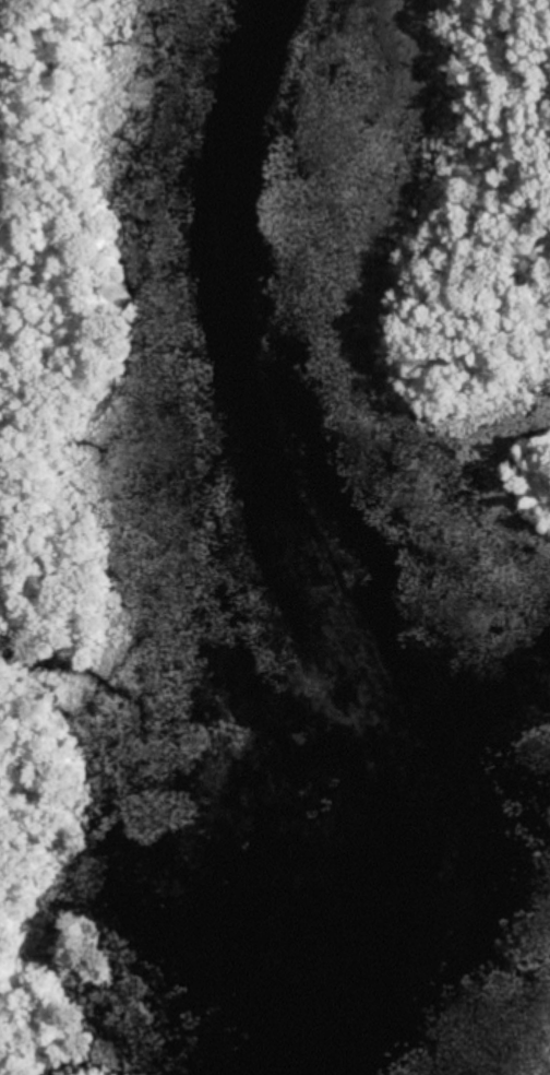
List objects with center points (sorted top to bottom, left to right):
river: (300, 535)

